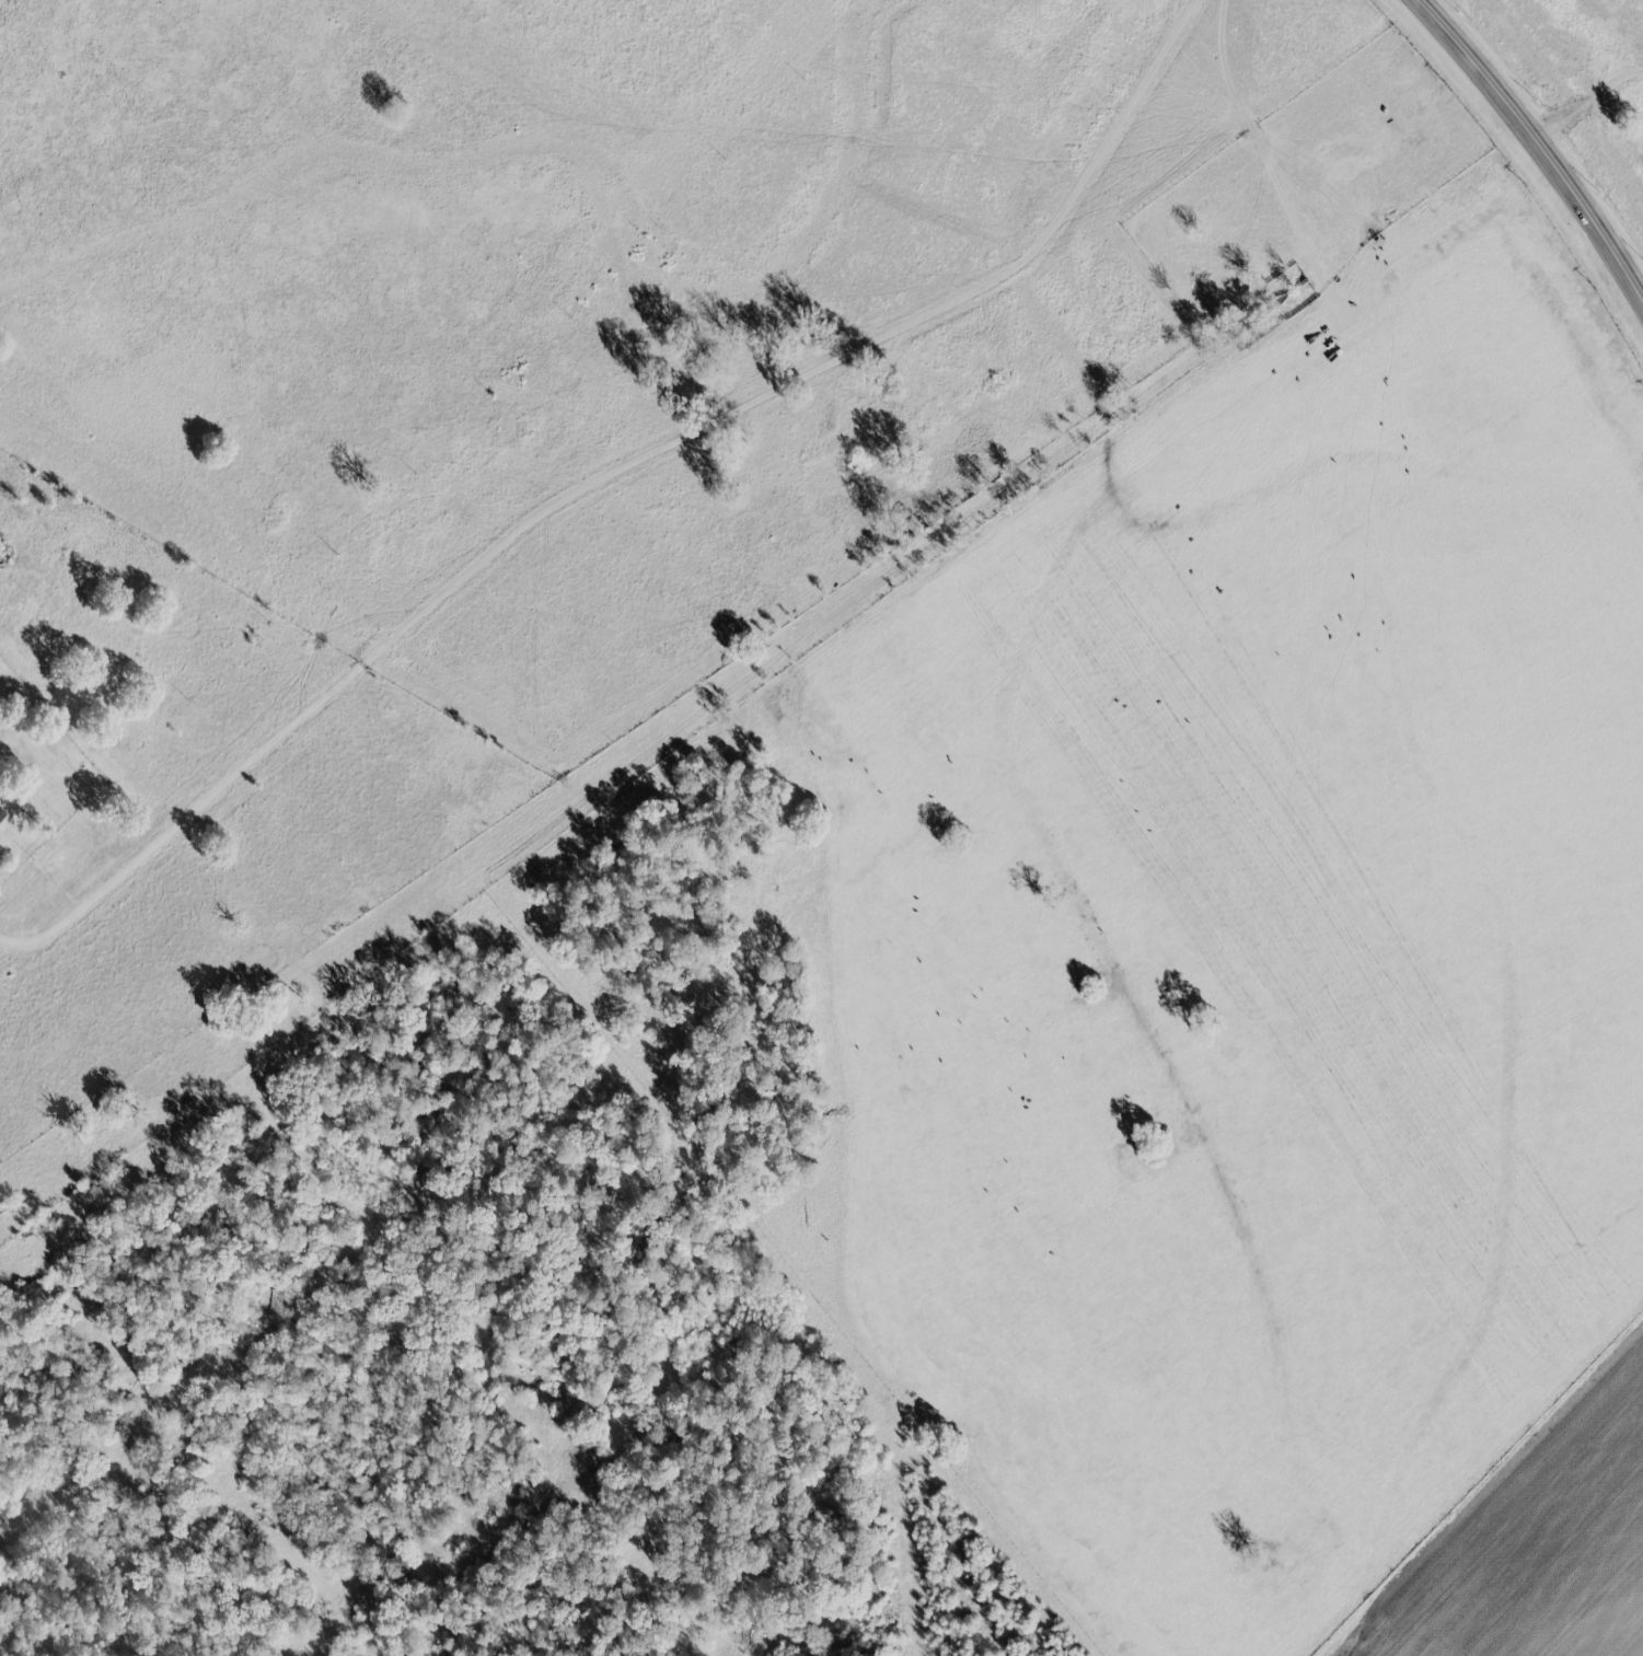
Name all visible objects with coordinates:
railway: (1565, 94)
road: (1539, 144)
road: (616, 470)
building: (0, 813)

